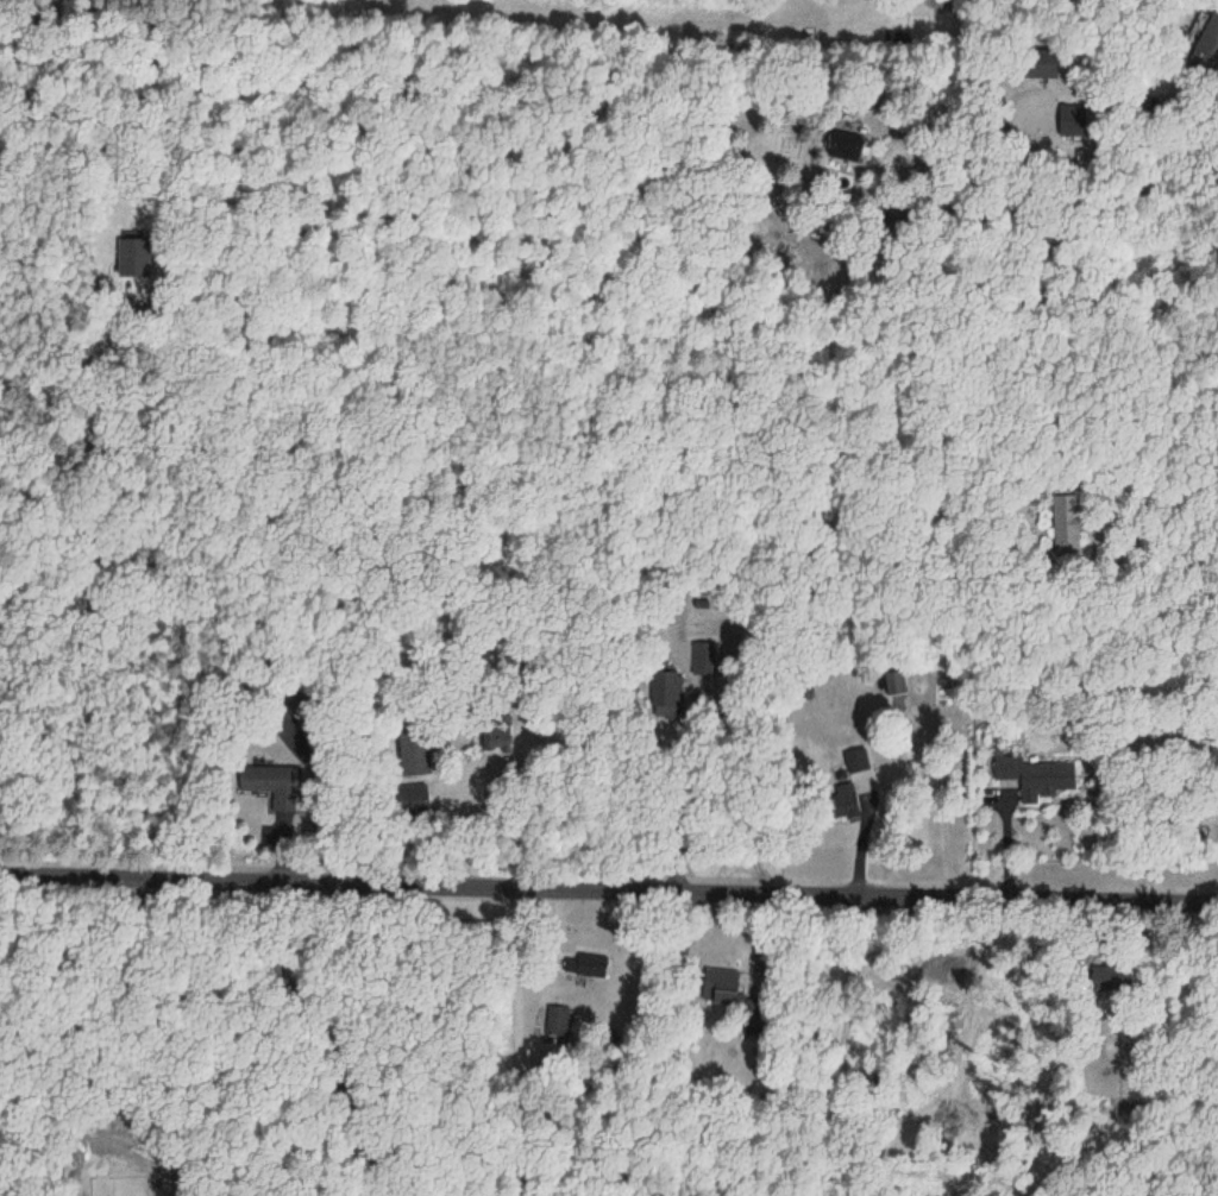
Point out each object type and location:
building: (1206, 34)
building: (1038, 64)
road: (1067, 182)
building: (703, 653)
building: (667, 694)
building: (415, 757)
building: (855, 761)
building: (1217, 761)
building: (1034, 778)
building: (270, 786)
building: (840, 804)
road: (609, 873)
building: (584, 963)
building: (1111, 977)
building: (551, 1019)

